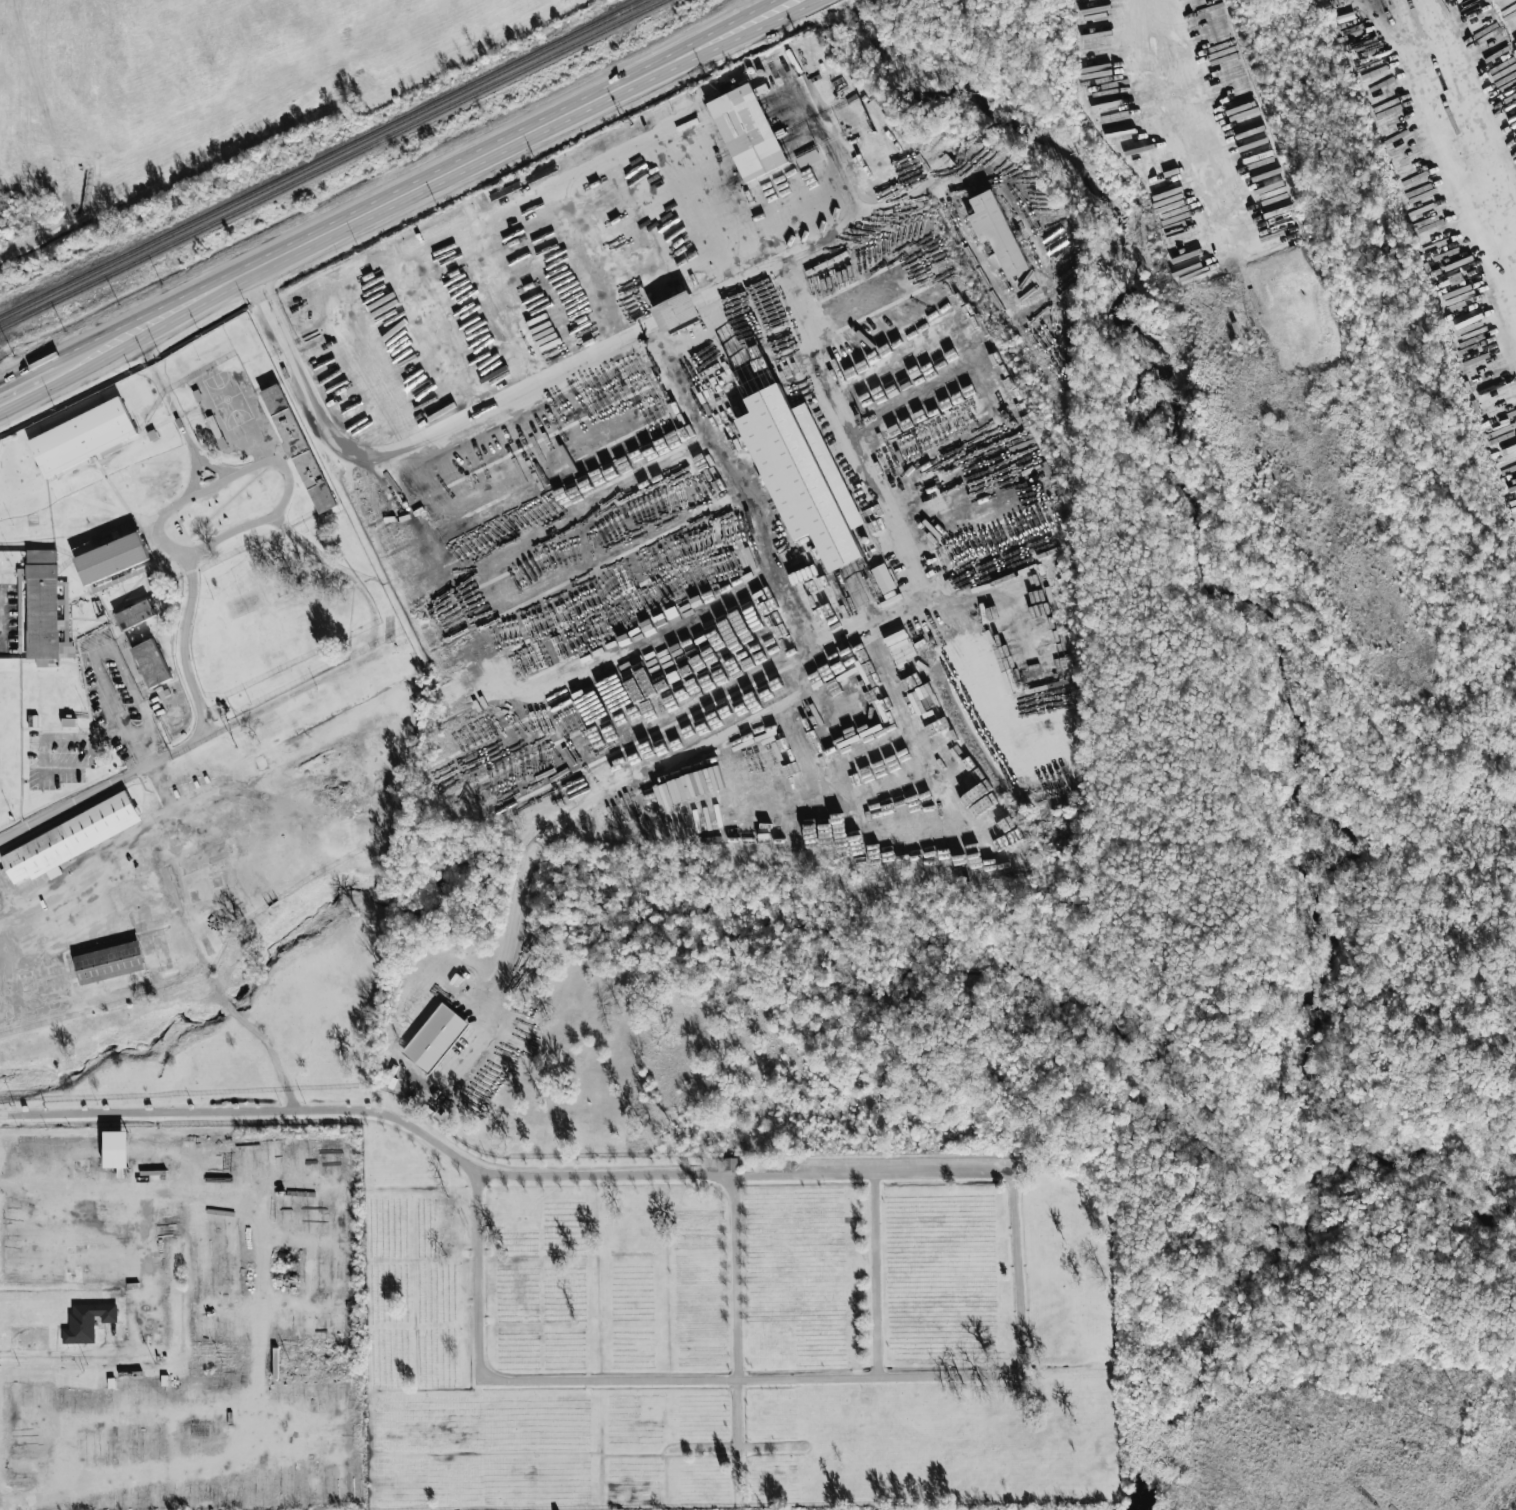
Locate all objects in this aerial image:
road: (813, 119)
road: (1200, 119)
building: (748, 133)
road: (1467, 144)
railway: (322, 160)
railway: (332, 166)
road: (427, 184)
building: (997, 234)
road: (791, 260)
road: (1060, 267)
road: (278, 304)
building: (676, 313)
road: (817, 354)
road: (565, 380)
road: (29, 384)
building: (274, 399)
road: (175, 413)
building: (82, 437)
building: (304, 461)
road: (197, 473)
building: (802, 475)
road: (192, 497)
road: (206, 549)
building: (113, 555)
building: (884, 578)
building: (45, 611)
building: (136, 614)
road: (0, 616)
road: (795, 618)
road: (99, 650)
building: (151, 663)
road: (195, 694)
road: (136, 701)
road: (276, 708)
road: (116, 712)
road: (206, 724)
road: (669, 765)
building: (70, 837)
road: (102, 874)
road: (2, 926)
building: (109, 961)
building: (435, 1037)
road: (269, 1050)
building: (115, 1149)
road: (550, 1179)
road: (130, 1196)
road: (739, 1307)
building: (87, 1322)
road: (1023, 1322)
park: (736, 1332)
road: (143, 1341)
road: (953, 1370)
road: (681, 1386)
building: (194, 1387)
road: (241, 1450)

